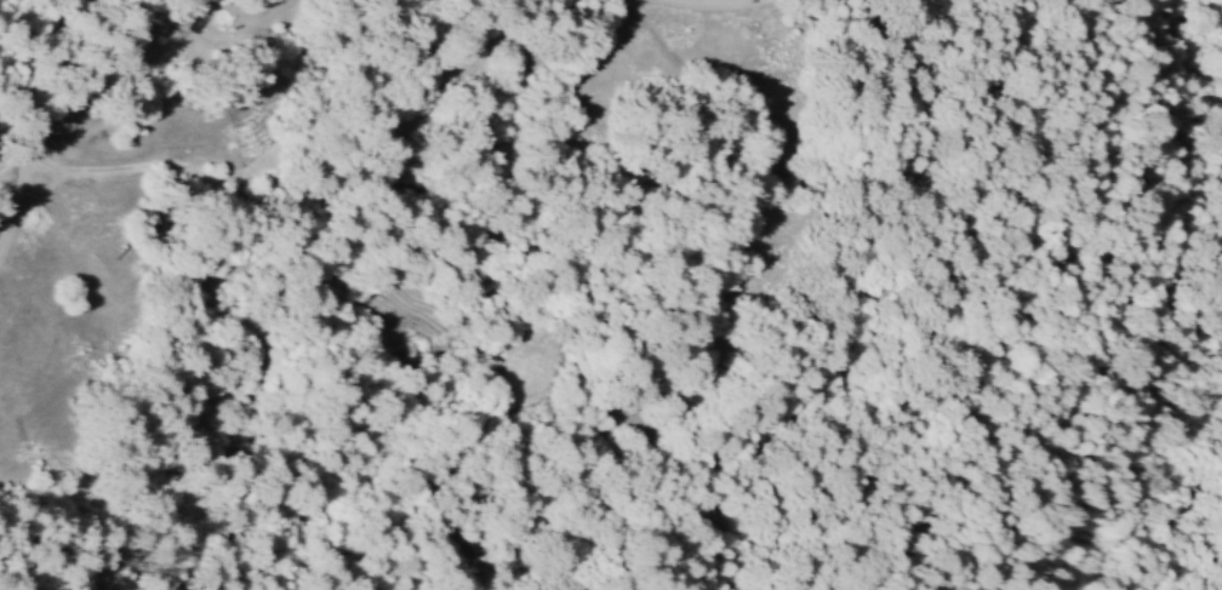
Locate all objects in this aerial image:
road: (727, 4)
road: (35, 125)

